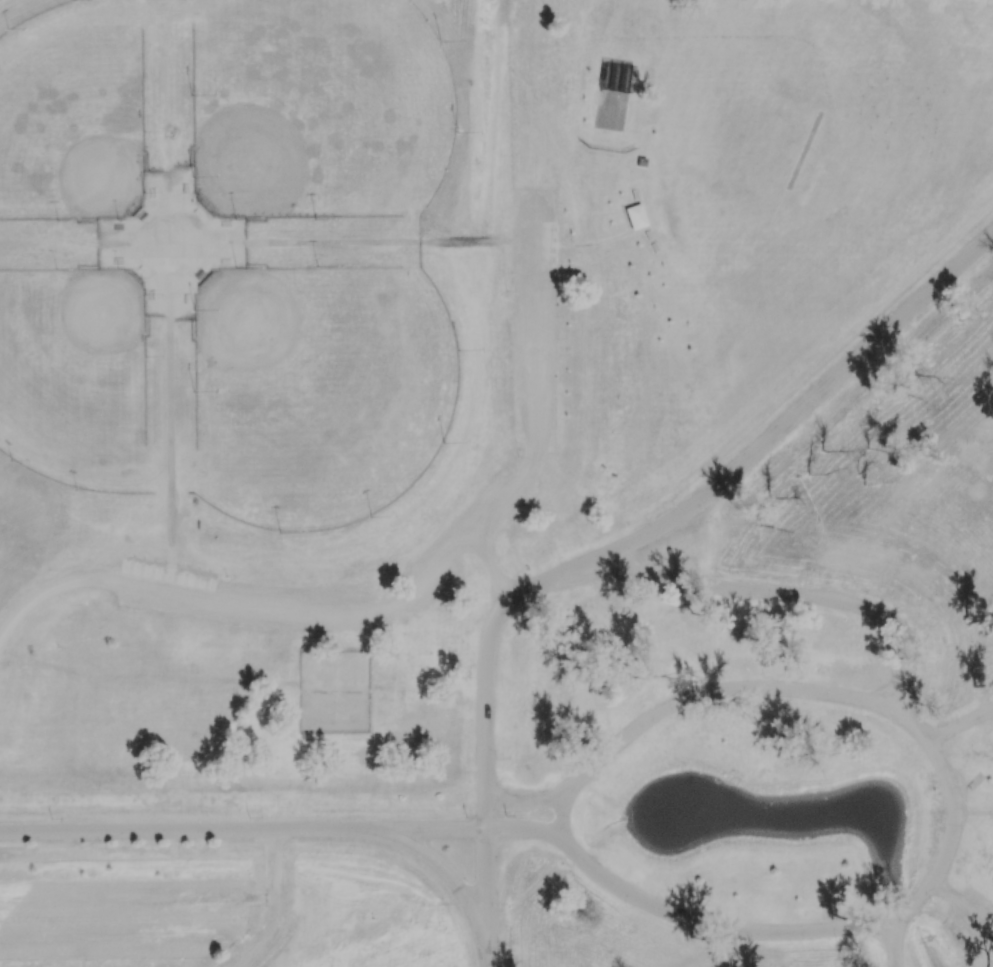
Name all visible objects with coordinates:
park: (318, 108)
park: (72, 113)
building: (636, 215)
road: (614, 236)
road: (370, 243)
building: (166, 244)
road: (536, 370)
park: (74, 378)
park: (318, 392)
road: (799, 411)
parking lot: (534, 421)
road: (169, 437)
park: (496, 483)
road: (489, 563)
road: (547, 581)
road: (51, 585)
road: (790, 594)
road: (313, 610)
park: (333, 692)
road: (709, 692)
parking lot: (985, 705)
road: (984, 713)
road: (951, 729)
road: (484, 765)
road: (522, 804)
road: (991, 812)
road: (971, 814)
road: (991, 815)
road: (953, 816)
road: (560, 818)
road: (524, 828)
road: (242, 831)
road: (273, 864)
road: (446, 875)
road: (943, 890)
road: (136, 898)
road: (974, 915)
parking lot: (973, 917)
parking lot: (119, 918)
road: (711, 926)
parking lot: (273, 930)
road: (261, 938)
road: (128, 939)
road: (892, 944)
road: (485, 951)
road: (81, 953)

